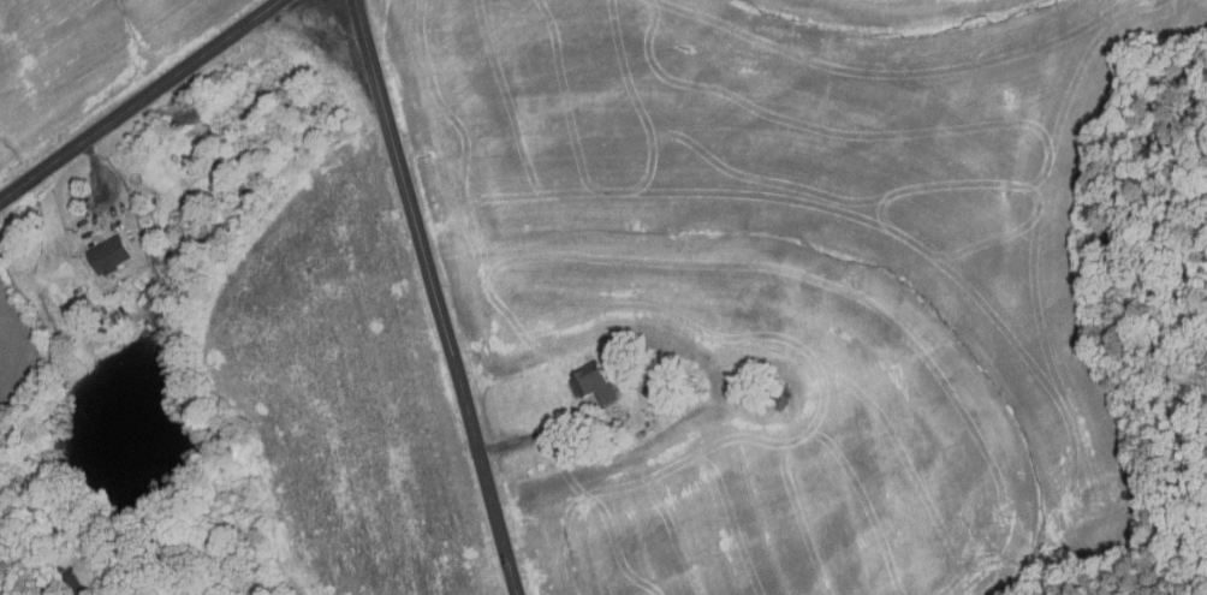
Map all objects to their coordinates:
crop: (81, 59)
road: (138, 100)
road: (95, 168)
building: (111, 254)
road: (434, 297)
building: (593, 382)
road: (528, 436)
building: (69, 577)

